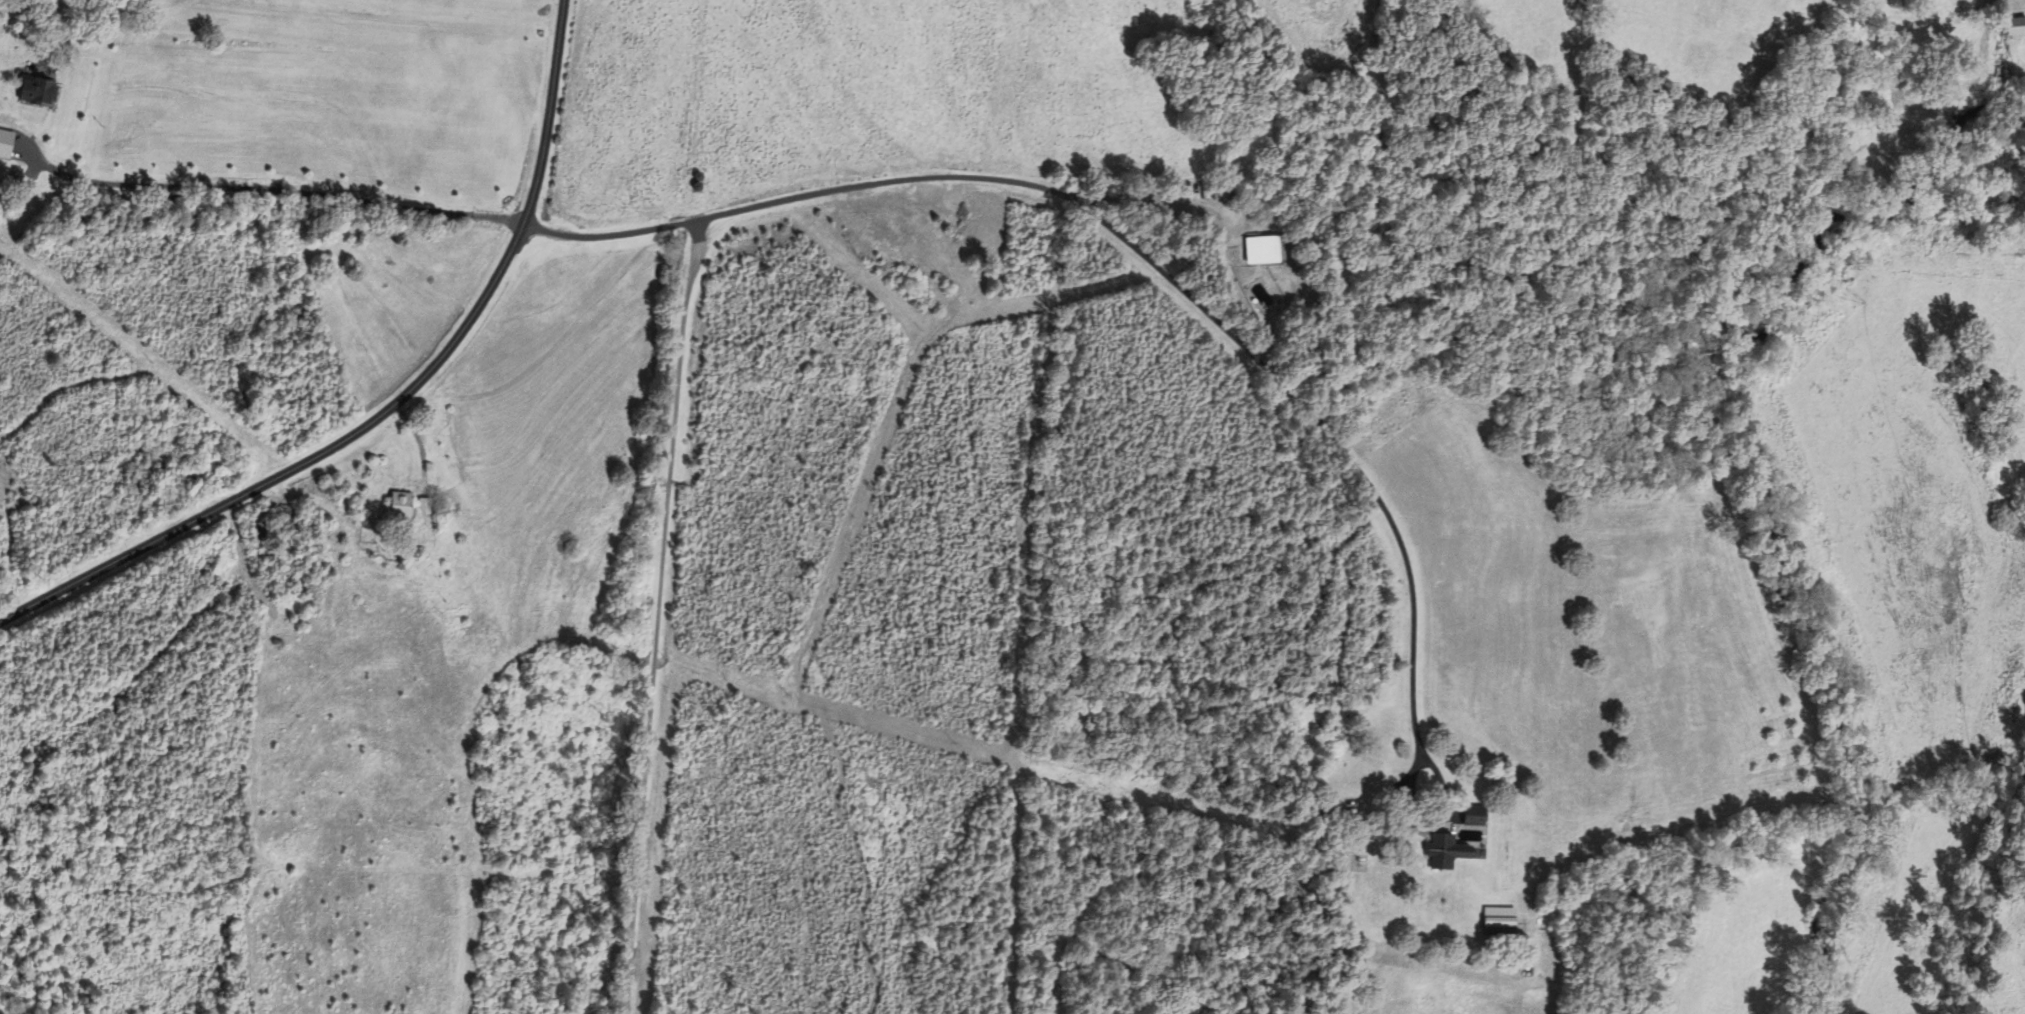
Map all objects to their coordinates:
building: (2014, 26)
building: (35, 89)
road: (269, 188)
building: (1218, 192)
building: (1261, 249)
road: (1181, 268)
road: (387, 390)
building: (422, 505)
building: (400, 506)
building: (287, 523)
building: (263, 536)
road: (657, 618)
building: (1473, 815)
building: (1448, 852)
building: (1498, 921)

